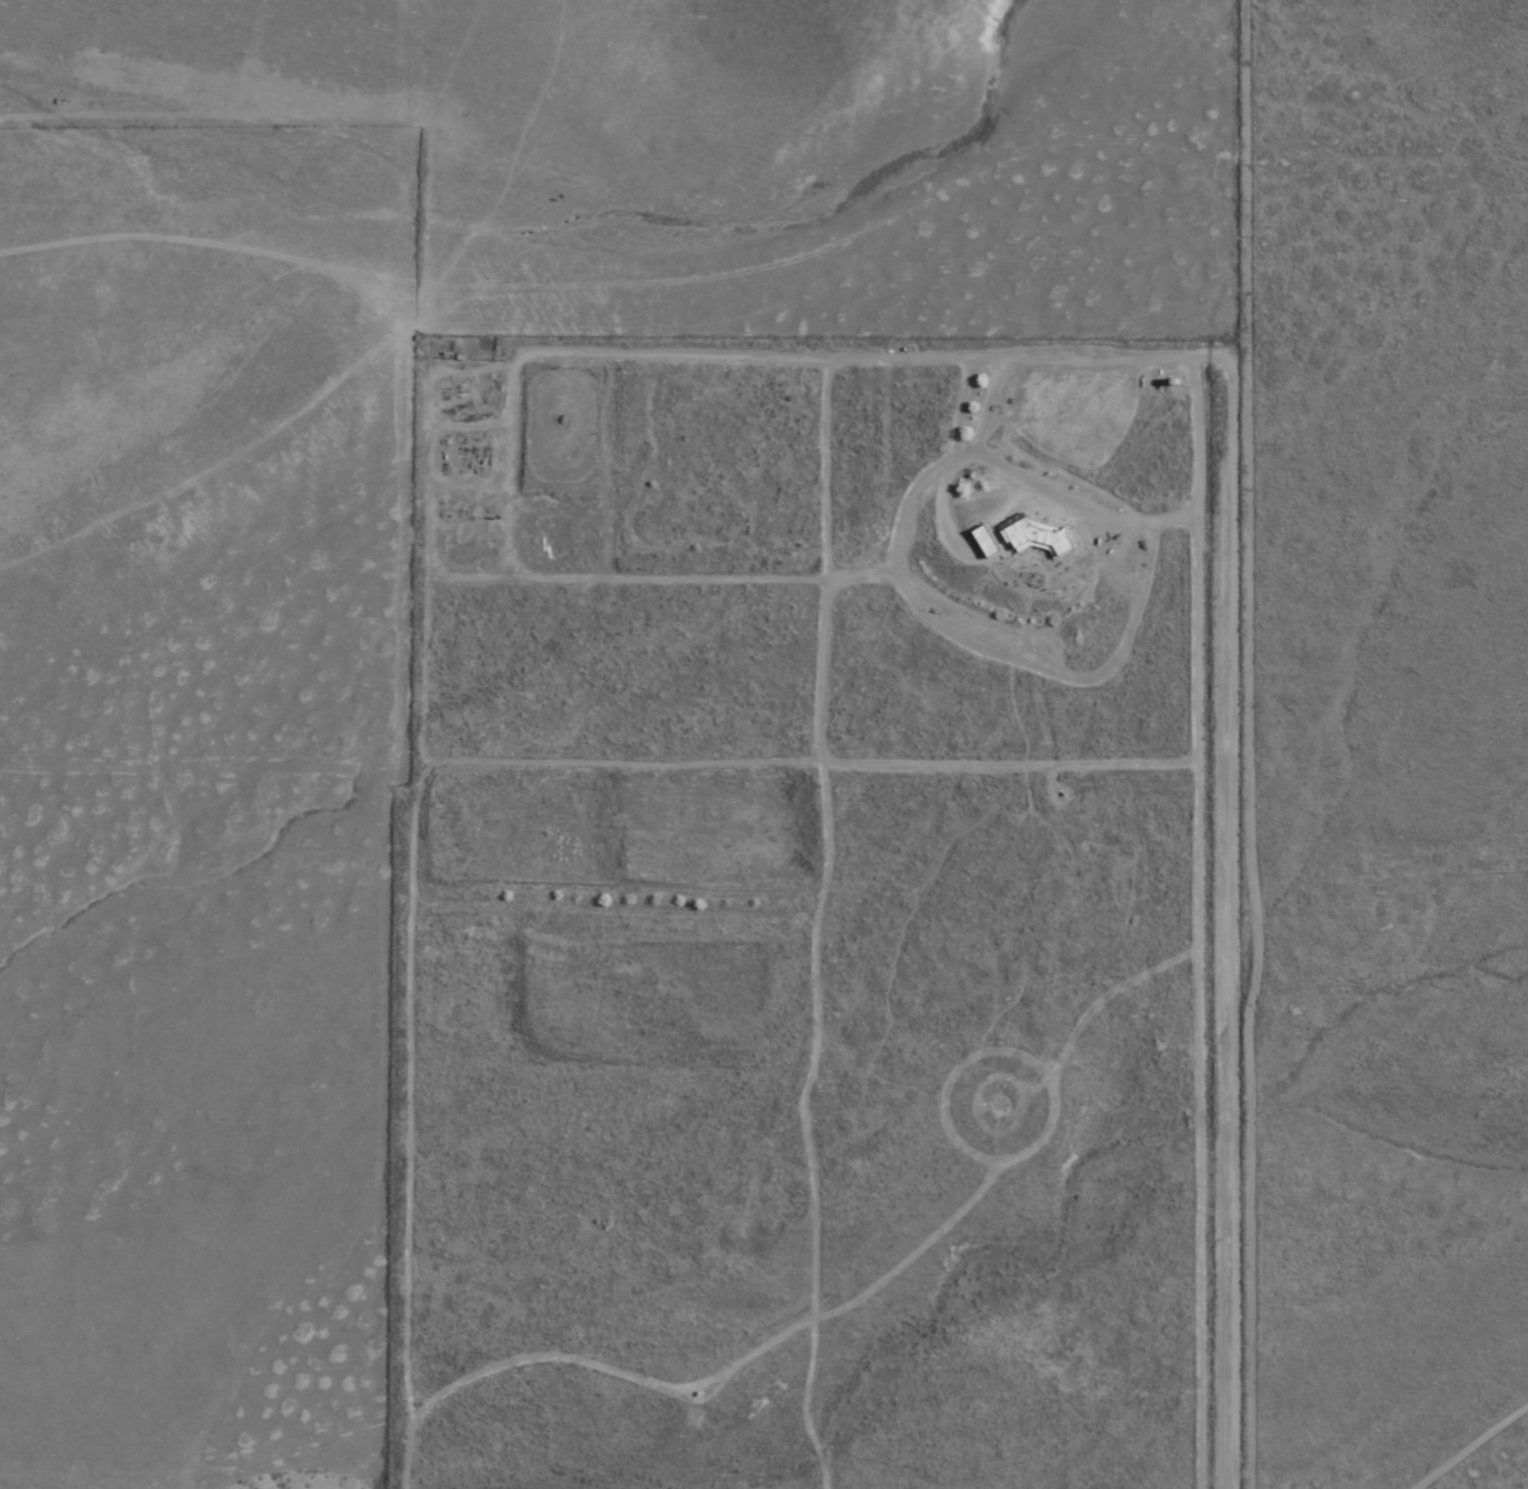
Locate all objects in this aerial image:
building: (1045, 537)
building: (990, 541)
road: (1231, 747)

